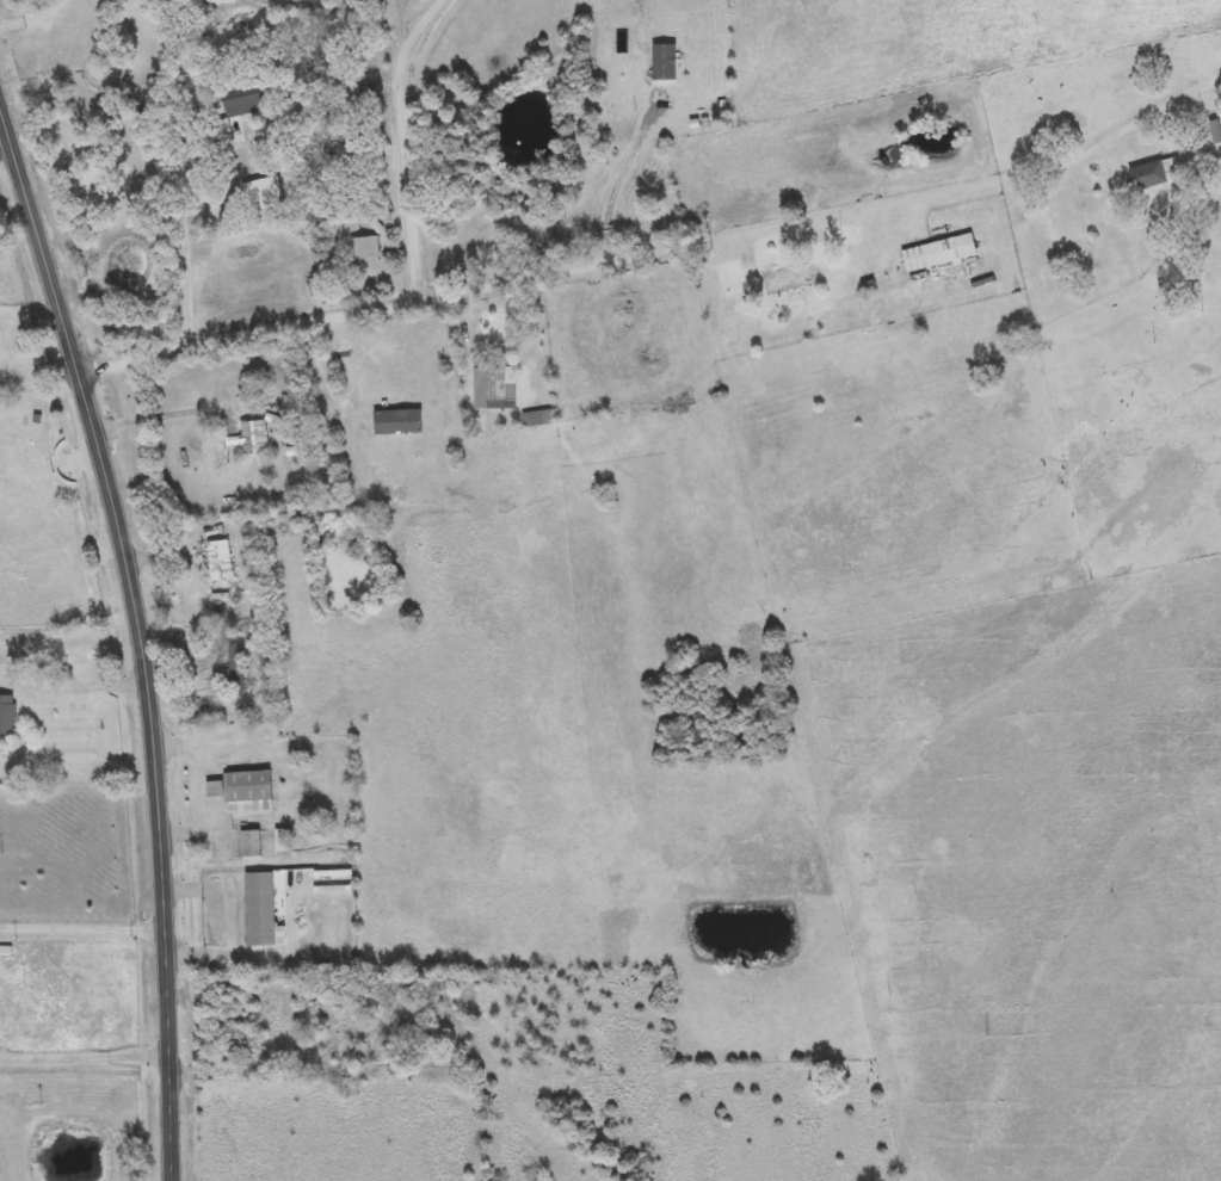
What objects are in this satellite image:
road: (32, 19)
building: (242, 98)
building: (1215, 131)
road: (411, 142)
building: (1154, 173)
building: (261, 193)
road: (193, 234)
building: (364, 248)
road: (658, 251)
building: (939, 253)
building: (788, 279)
building: (621, 322)
building: (308, 341)
road: (38, 378)
building: (497, 389)
road: (169, 410)
building: (254, 438)
building: (220, 561)
road: (141, 638)
building: (236, 670)
road: (74, 687)
building: (7, 716)
road: (195, 746)
building: (245, 791)
building: (283, 840)
building: (251, 842)
building: (234, 891)
building: (260, 909)
road: (82, 928)
road: (217, 958)
road: (84, 1057)
road: (210, 1070)

